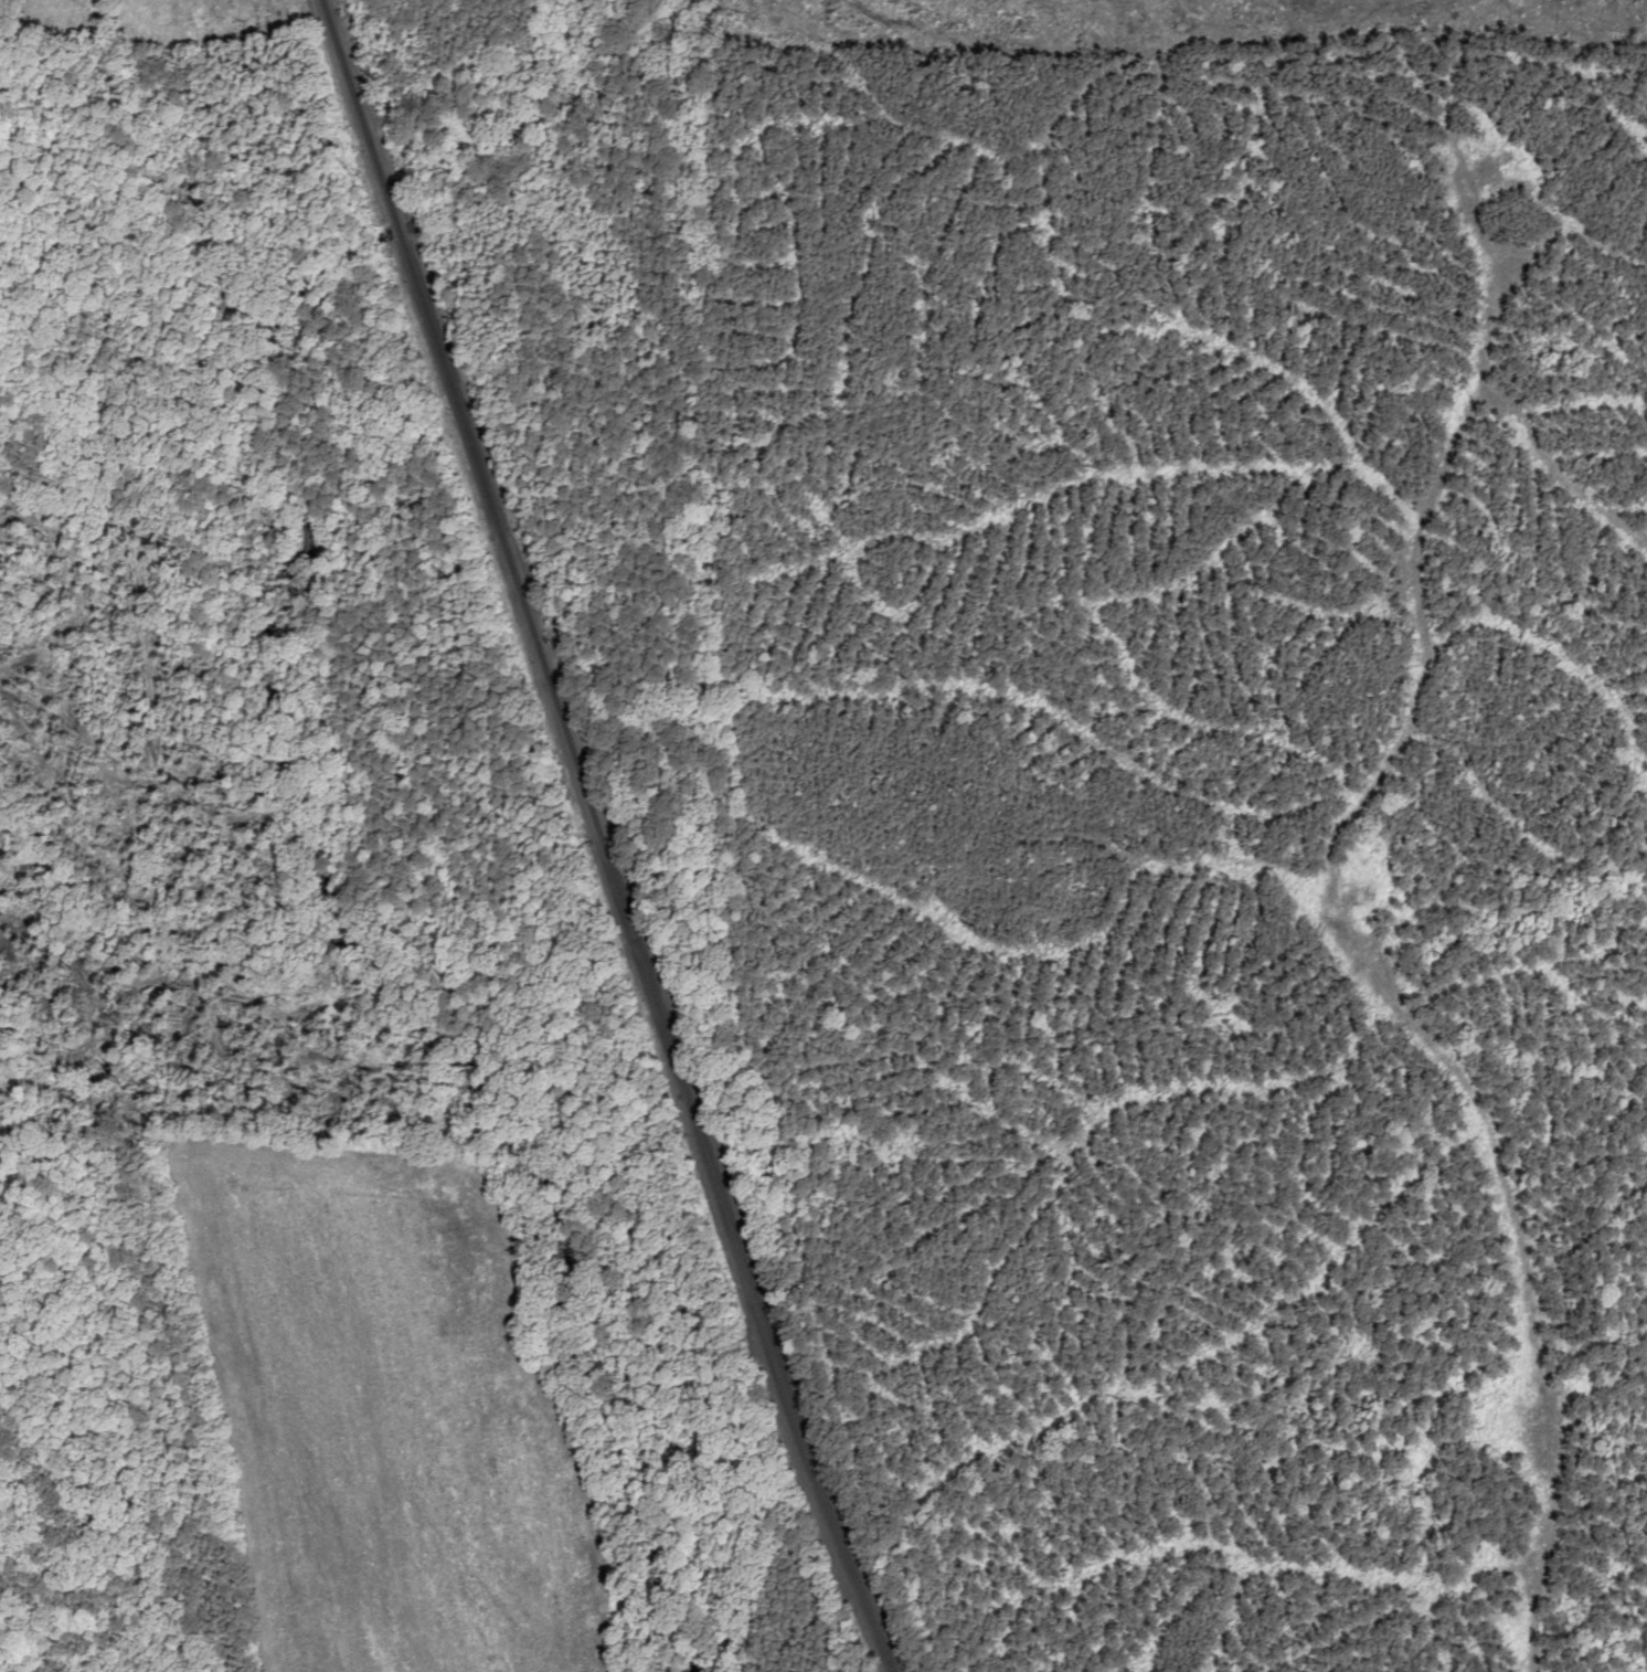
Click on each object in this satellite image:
railway: (591, 838)

